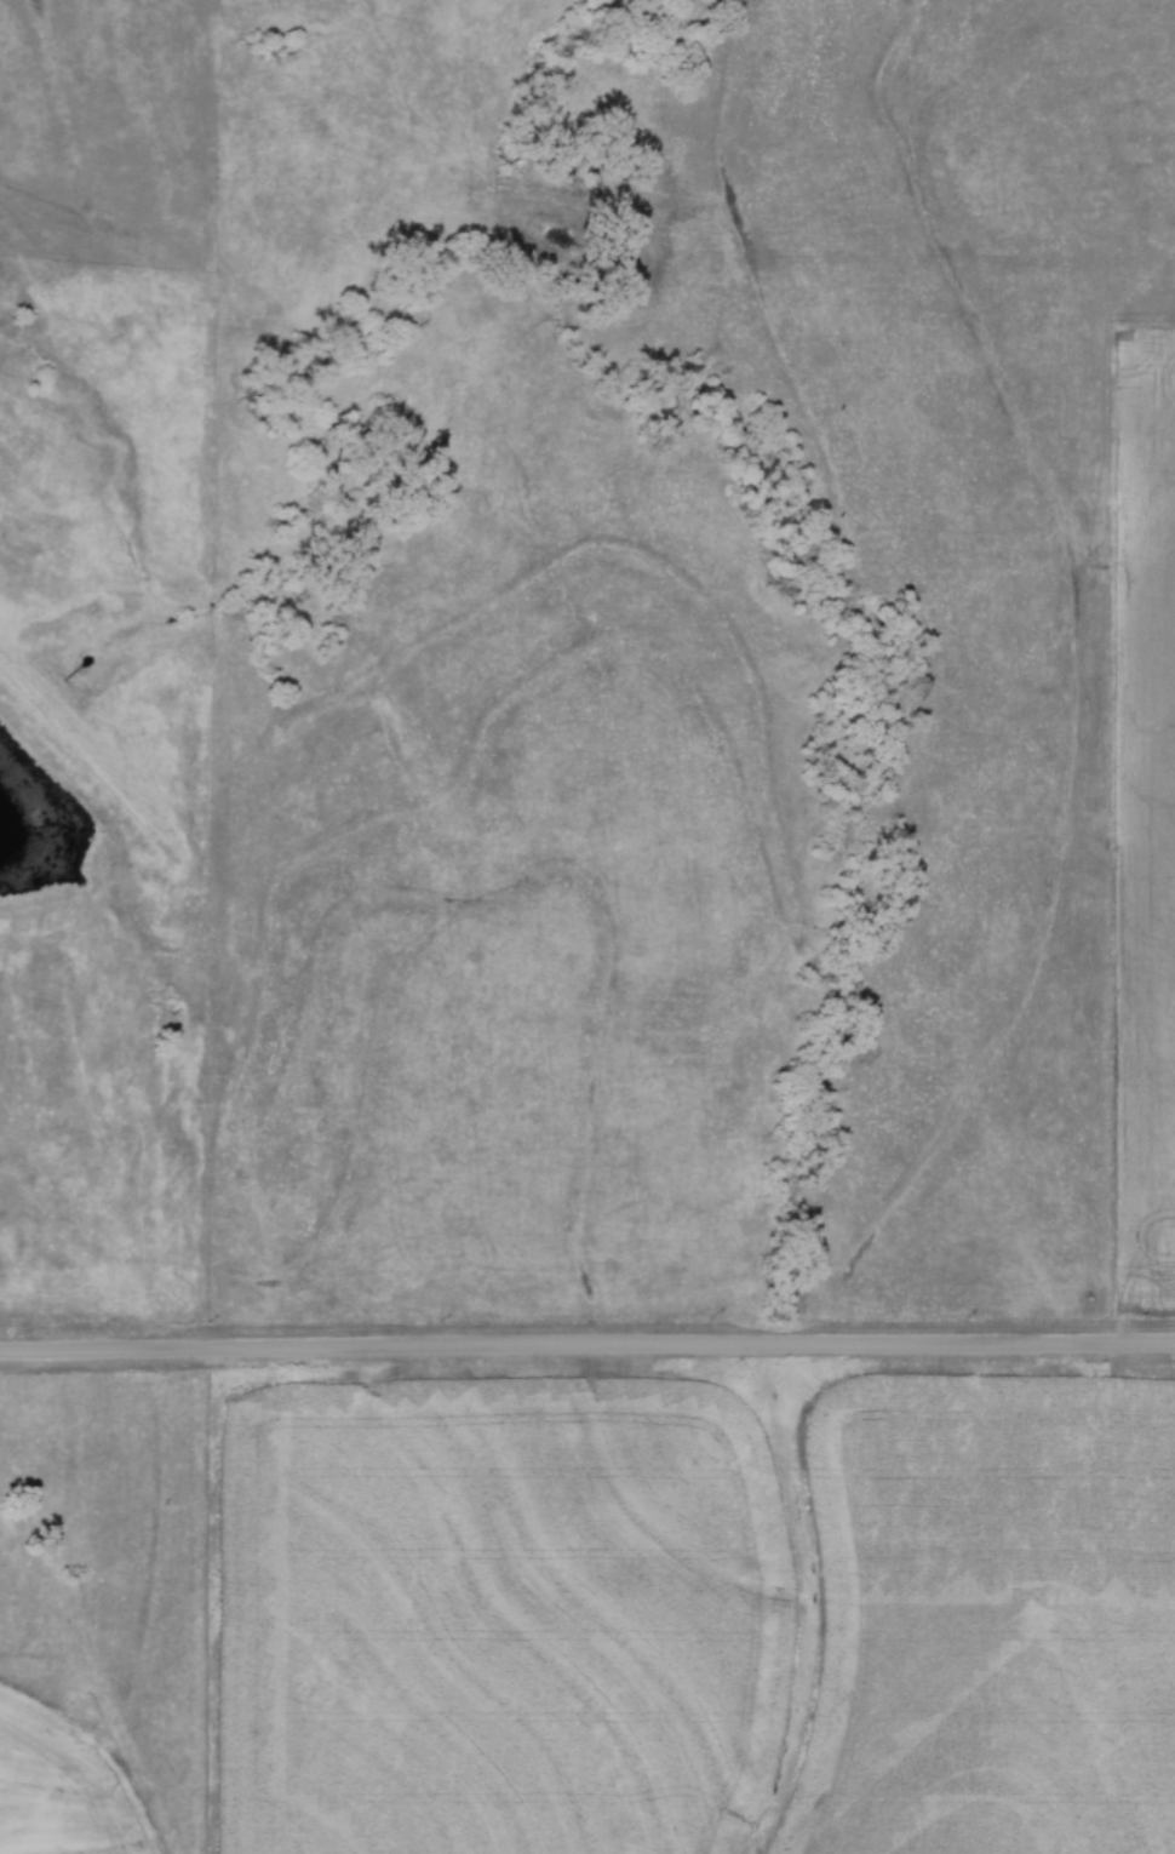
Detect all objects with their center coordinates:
road: (587, 1350)

